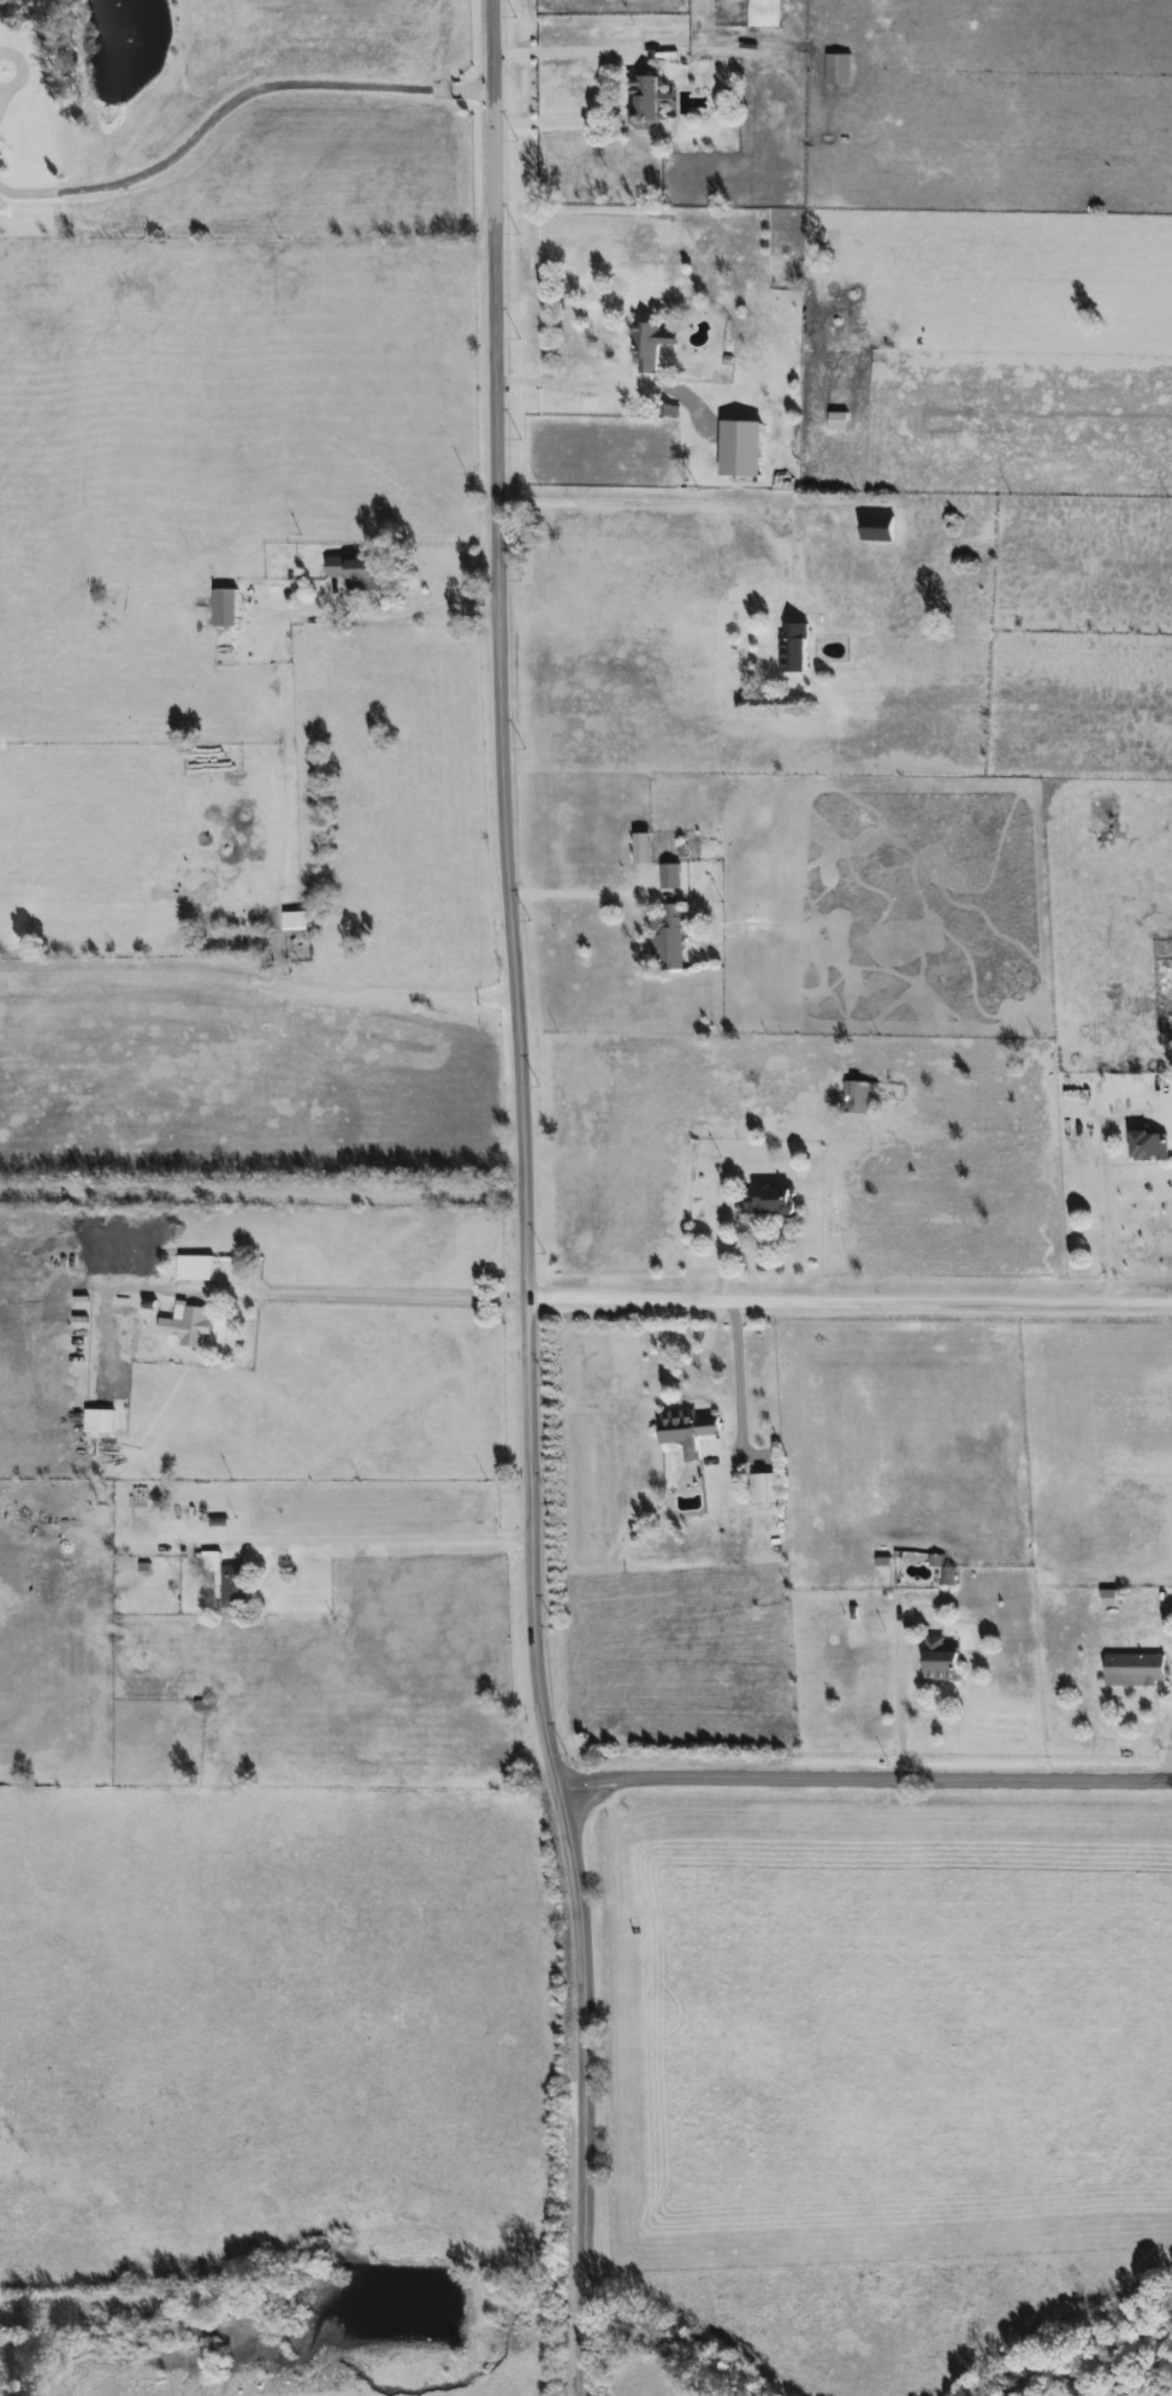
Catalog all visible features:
building: (762, 13)
building: (834, 69)
road: (602, 87)
road: (233, 100)
building: (641, 100)
building: (647, 348)
road: (570, 385)
building: (837, 420)
road: (688, 502)
building: (876, 528)
building: (353, 572)
building: (223, 608)
road: (383, 615)
building: (795, 646)
road: (284, 749)
road: (570, 893)
building: (292, 921)
building: (668, 940)
road: (349, 986)
building: (856, 1095)
building: (1144, 1142)
road: (264, 1193)
road: (527, 1200)
building: (769, 1200)
road: (1109, 1237)
building: (193, 1266)
road: (390, 1298)
road: (850, 1302)
building: (188, 1325)
road: (729, 1363)
building: (105, 1420)
building: (683, 1430)
building: (760, 1487)
road: (406, 1538)
building: (226, 1579)
building: (937, 1661)
building: (1133, 1669)
road: (894, 1700)
road: (1167, 1759)
road: (865, 1782)
road: (1094, 1891)

